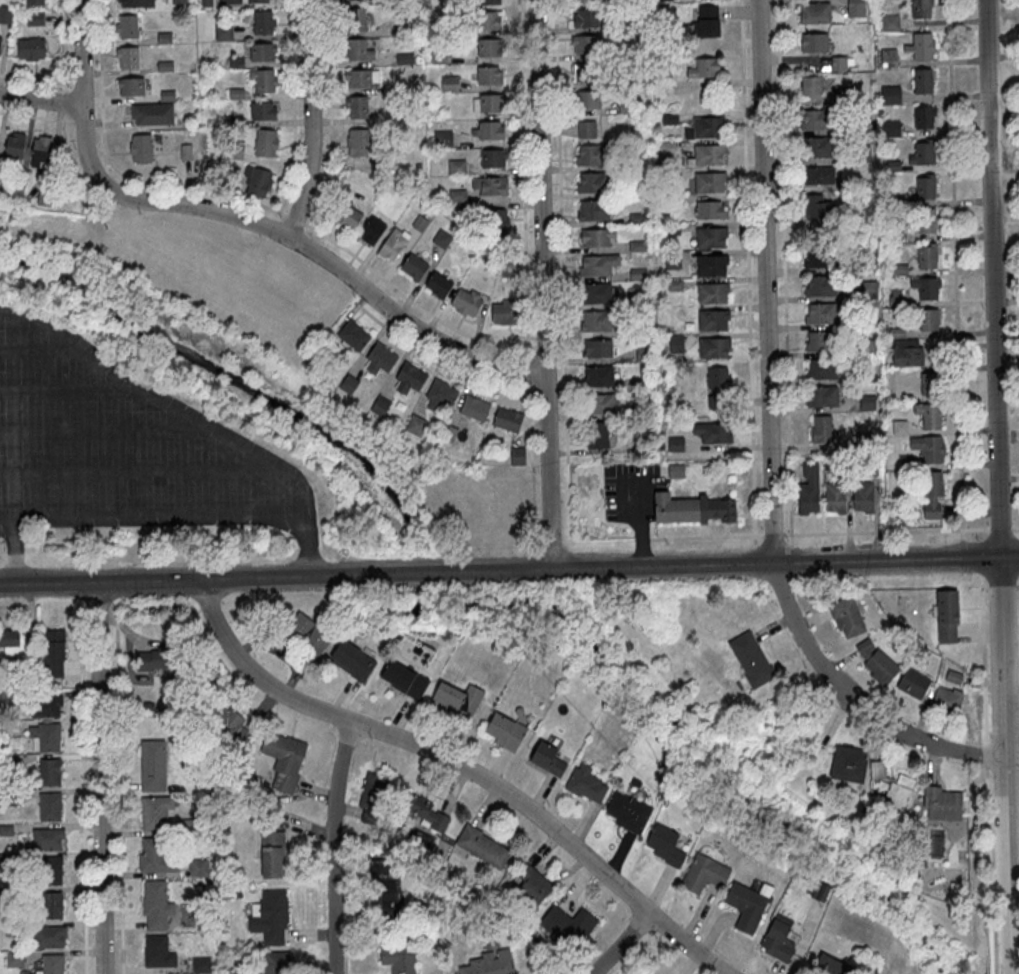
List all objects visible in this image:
building: (662, 0)
building: (179, 1)
building: (257, 1)
building: (582, 1)
building: (36, 2)
building: (491, 2)
building: (135, 3)
building: (205, 3)
building: (856, 9)
building: (921, 9)
building: (5, 14)
building: (815, 15)
building: (586, 17)
building: (35, 18)
building: (357, 19)
building: (489, 20)
building: (263, 22)
building: (706, 22)
building: (890, 25)
building: (128, 26)
building: (223, 32)
building: (0, 40)
building: (584, 44)
building: (814, 45)
building: (489, 47)
building: (921, 48)
building: (31, 49)
building: (262, 51)
building: (358, 51)
building: (127, 57)
building: (889, 59)
road: (63, 60)
building: (839, 65)
building: (705, 68)
building: (585, 72)
building: (489, 74)
road: (32, 79)
building: (360, 79)
building: (263, 80)
building: (449, 83)
building: (922, 83)
building: (130, 86)
building: (811, 87)
building: (891, 97)
building: (848, 98)
road: (40, 99)
building: (587, 99)
building: (488, 102)
building: (357, 108)
building: (263, 110)
building: (152, 113)
road: (330, 114)
road: (40, 117)
road: (82, 118)
building: (924, 119)
road: (311, 120)
building: (818, 121)
building: (858, 126)
building: (586, 128)
building: (706, 128)
building: (488, 130)
building: (891, 130)
building: (443, 138)
building: (266, 142)
building: (358, 143)
building: (15, 144)
building: (40, 149)
building: (140, 149)
building: (817, 149)
building: (590, 154)
building: (707, 154)
street lamp: (775, 154)
building: (861, 155)
building: (923, 156)
building: (493, 158)
building: (457, 166)
building: (893, 167)
building: (819, 177)
building: (257, 181)
building: (710, 181)
building: (590, 182)
building: (855, 184)
building: (489, 186)
building: (926, 189)
building: (894, 203)
building: (711, 209)
building: (594, 211)
building: (818, 213)
building: (348, 216)
building: (498, 221)
road: (746, 222)
road: (783, 222)
building: (926, 223)
building: (372, 231)
road: (560, 231)
building: (711, 237)
building: (596, 238)
building: (895, 238)
building: (393, 245)
street lamp: (754, 257)
building: (927, 258)
building: (820, 260)
building: (711, 264)
building: (856, 265)
building: (414, 266)
building: (597, 266)
road: (954, 270)
building: (901, 272)
road: (350, 278)
building: (438, 284)
road: (542, 286)
building: (820, 288)
building: (926, 289)
building: (712, 292)
building: (870, 292)
road: (398, 293)
building: (594, 293)
building: (895, 300)
building: (466, 301)
building: (503, 313)
building: (821, 316)
building: (711, 319)
building: (595, 322)
building: (929, 323)
building: (353, 334)
building: (897, 335)
building: (821, 343)
building: (714, 347)
building: (597, 349)
building: (866, 349)
building: (907, 355)
building: (382, 356)
road: (442, 362)
building: (822, 371)
road: (768, 372)
building: (409, 377)
building: (598, 377)
building: (857, 379)
building: (349, 384)
building: (718, 386)
building: (931, 387)
building: (440, 394)
building: (823, 399)
road: (528, 400)
building: (867, 404)
building: (380, 405)
building: (599, 405)
building: (474, 406)
building: (930, 417)
building: (508, 419)
building: (415, 423)
building: (900, 429)
building: (713, 432)
building: (823, 432)
building: (597, 436)
building: (863, 441)
parking lot: (121, 446)
road: (752, 447)
road: (769, 447)
road: (789, 448)
building: (929, 450)
building: (518, 455)
building: (907, 464)
building: (844, 466)
building: (676, 470)
building: (872, 470)
road: (295, 480)
road: (997, 486)
parking lot: (630, 492)
building: (809, 492)
building: (933, 495)
road: (753, 497)
road: (790, 498)
building: (863, 499)
building: (835, 500)
road: (504, 507)
road: (622, 509)
building: (690, 509)
road: (748, 514)
road: (768, 514)
building: (723, 521)
road: (1000, 528)
road: (1015, 528)
road: (726, 529)
road: (703, 531)
road: (885, 531)
road: (772, 534)
road: (706, 536)
road: (645, 539)
street lamp: (977, 540)
road: (306, 545)
road: (569, 545)
road: (14, 552)
road: (791, 554)
road: (755, 555)
road: (961, 557)
road: (3, 558)
road: (11, 558)
road: (509, 573)
road: (1018, 582)
road: (1001, 583)
road: (968, 584)
road: (98, 610)
road: (111, 610)
building: (947, 618)
building: (847, 619)
building: (309, 637)
building: (9, 642)
building: (53, 653)
building: (152, 659)
building: (751, 662)
building: (352, 663)
building: (877, 665)
building: (953, 679)
building: (405, 683)
building: (913, 685)
building: (947, 702)
building: (457, 703)
building: (45, 706)
road: (1011, 718)
building: (229, 724)
building: (506, 735)
building: (44, 736)
road: (931, 745)
road: (118, 754)
building: (284, 759)
road: (1011, 759)
building: (548, 762)
building: (152, 764)
road: (461, 766)
building: (848, 766)
building: (49, 771)
building: (877, 772)
road: (99, 779)
building: (905, 784)
road: (82, 787)
building: (586, 787)
building: (372, 790)
building: (896, 798)
building: (49, 806)
building: (942, 806)
building: (156, 811)
building: (426, 811)
building: (628, 815)
building: (47, 839)
building: (483, 846)
road: (332, 847)
building: (665, 848)
building: (156, 854)
building: (272, 854)
building: (198, 867)
building: (49, 870)
building: (704, 876)
building: (533, 883)
building: (820, 893)
building: (388, 896)
building: (156, 904)
building: (51, 905)
building: (748, 907)
building: (270, 916)
building: (568, 925)
building: (49, 936)
road: (620, 944)
building: (777, 944)
building: (158, 951)
building: (399, 958)
building: (52, 963)
building: (274, 963)
building: (488, 963)
building: (201, 965)
building: (831, 967)

